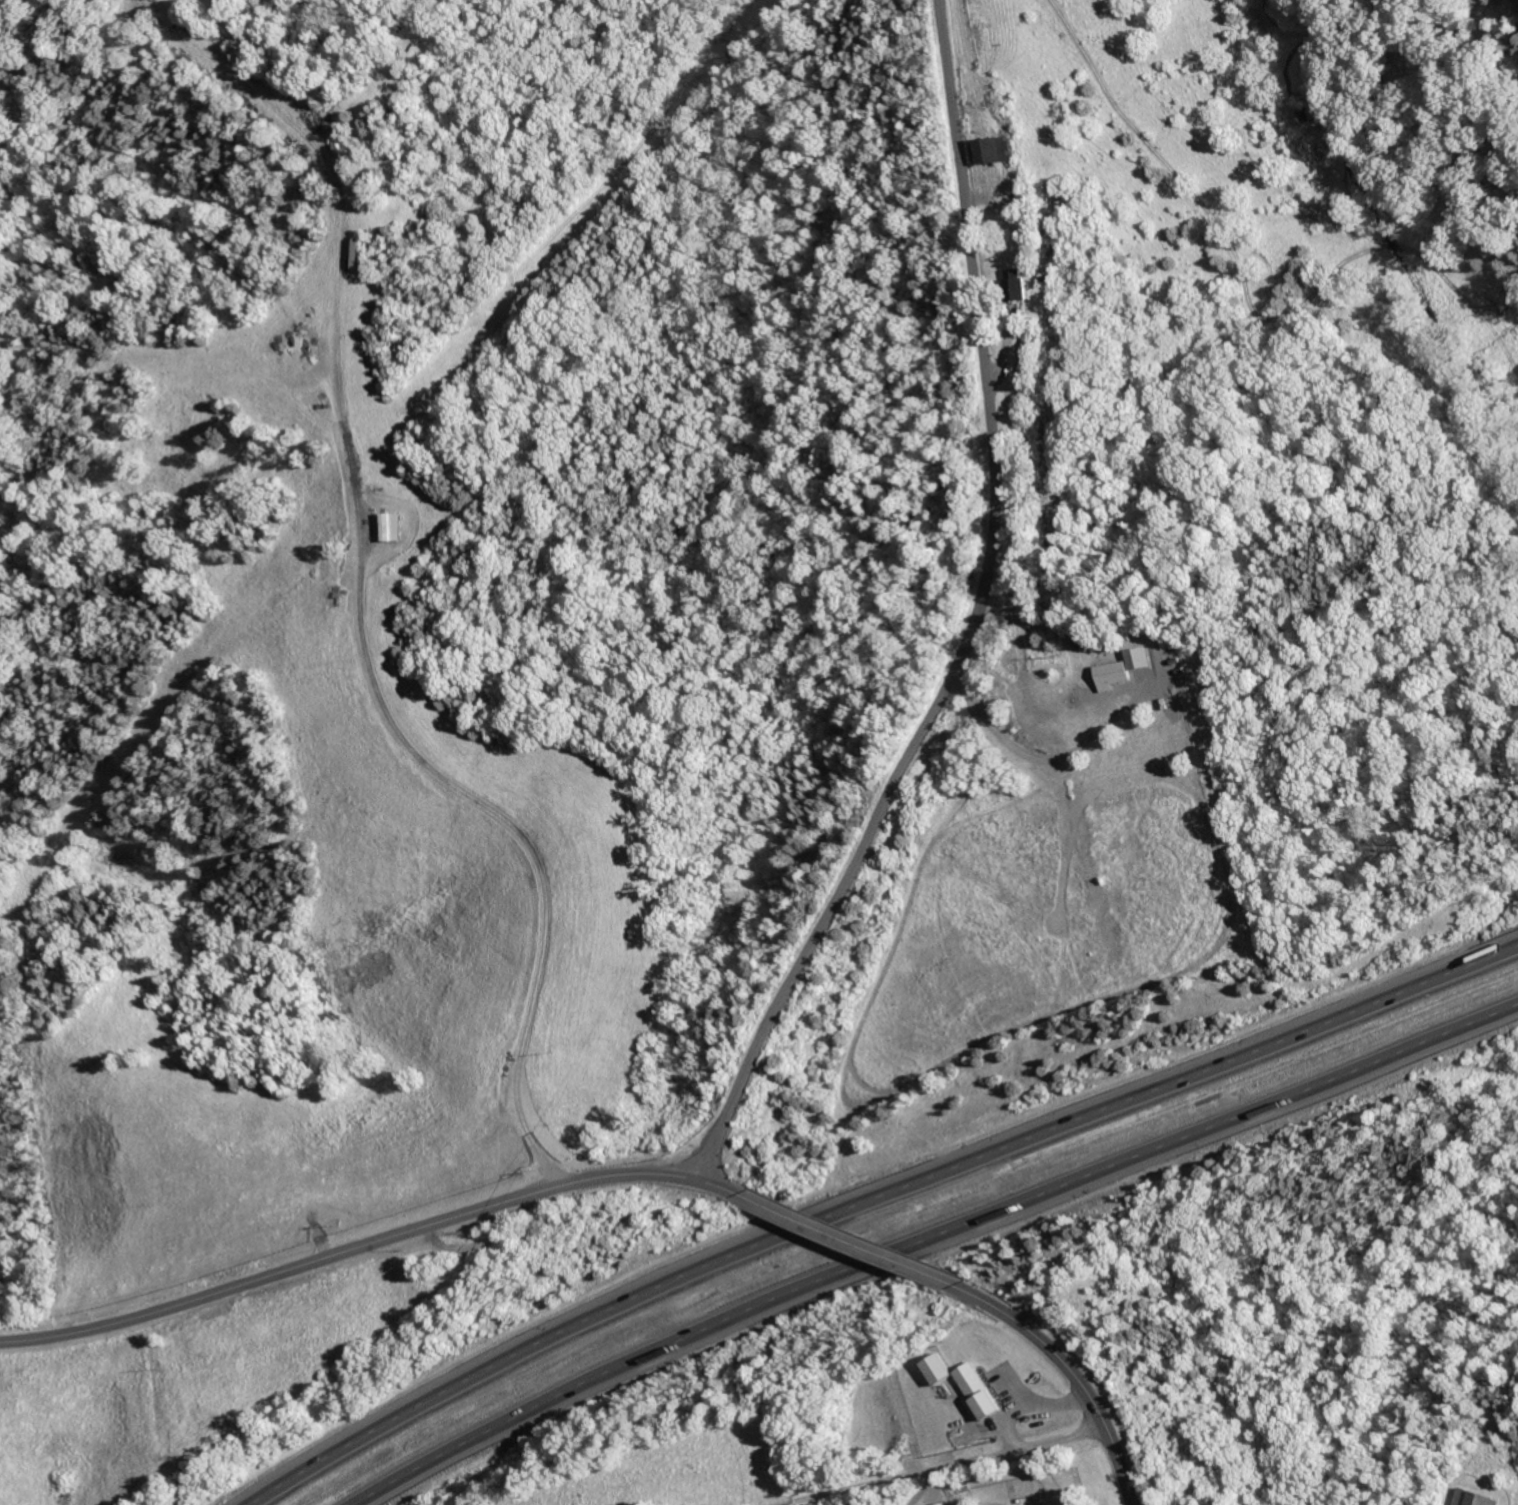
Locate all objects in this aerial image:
building: (998, 150)
building: (1022, 285)
building: (1028, 363)
road: (975, 620)
building: (1112, 674)
road: (872, 1195)
road: (934, 1239)
road: (851, 1243)
road: (366, 1245)
building: (939, 1368)
road: (1077, 1379)
building: (979, 1391)
road: (1030, 1406)
road: (1001, 1453)
building: (1475, 1498)
building: (947, 1504)

